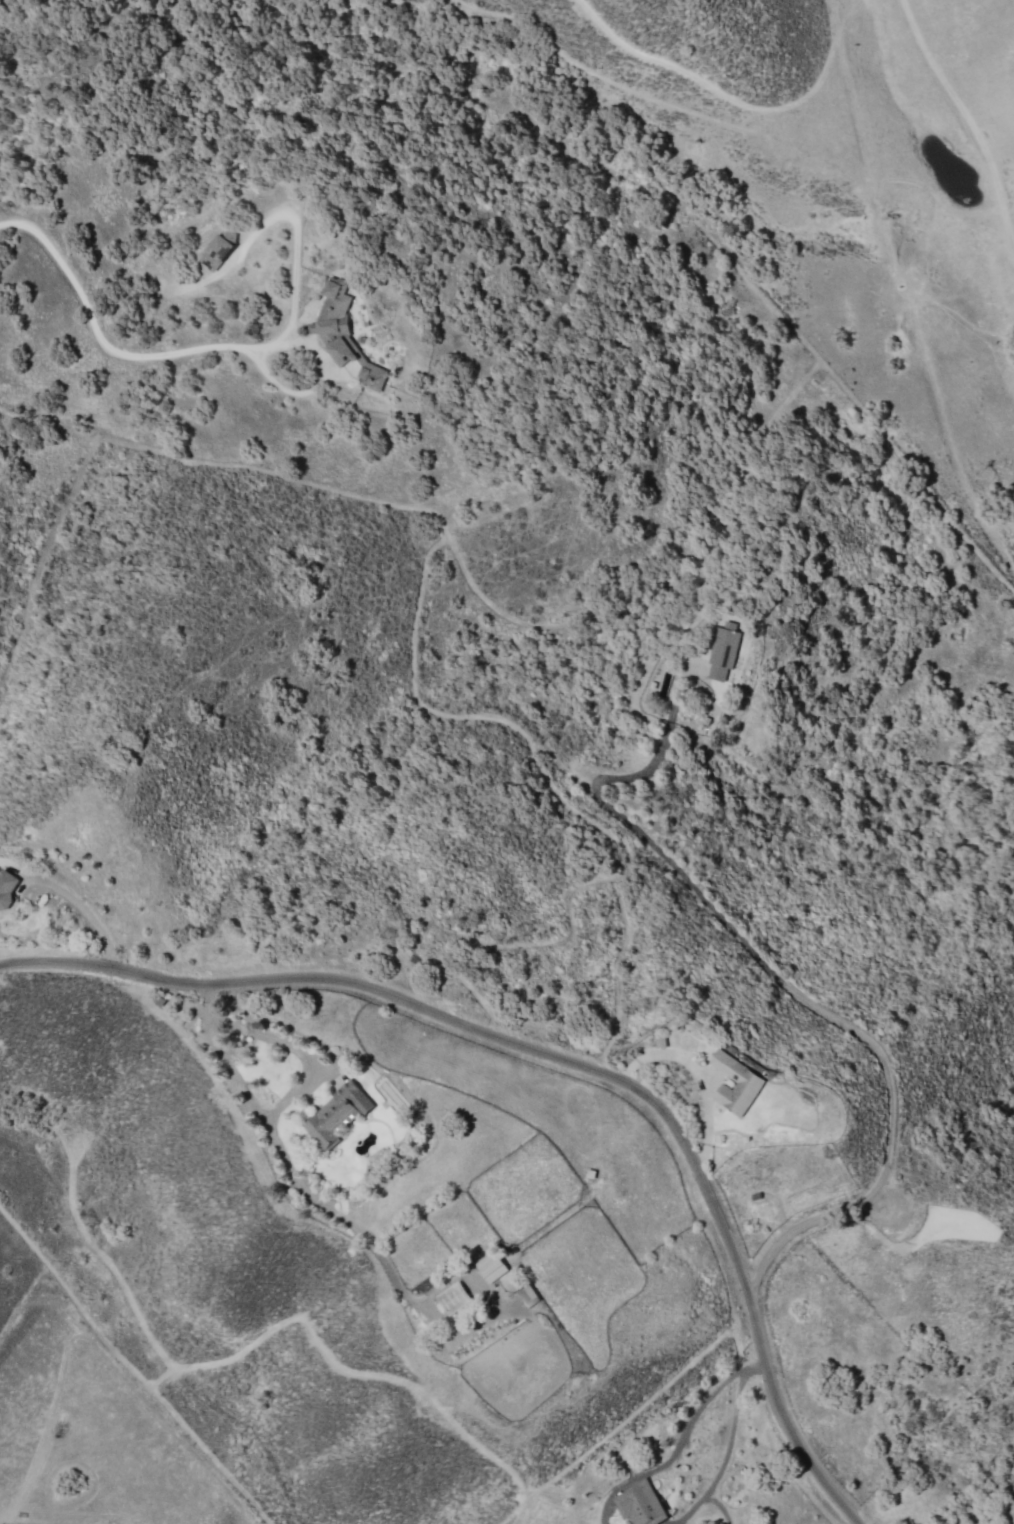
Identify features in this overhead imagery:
road: (967, 121)
building: (220, 248)
building: (343, 333)
road: (533, 626)
building: (724, 650)
road: (559, 794)
building: (7, 889)
building: (749, 1086)
building: (337, 1115)
building: (491, 1267)
building: (452, 1298)
road: (927, 1435)
building: (641, 1504)

